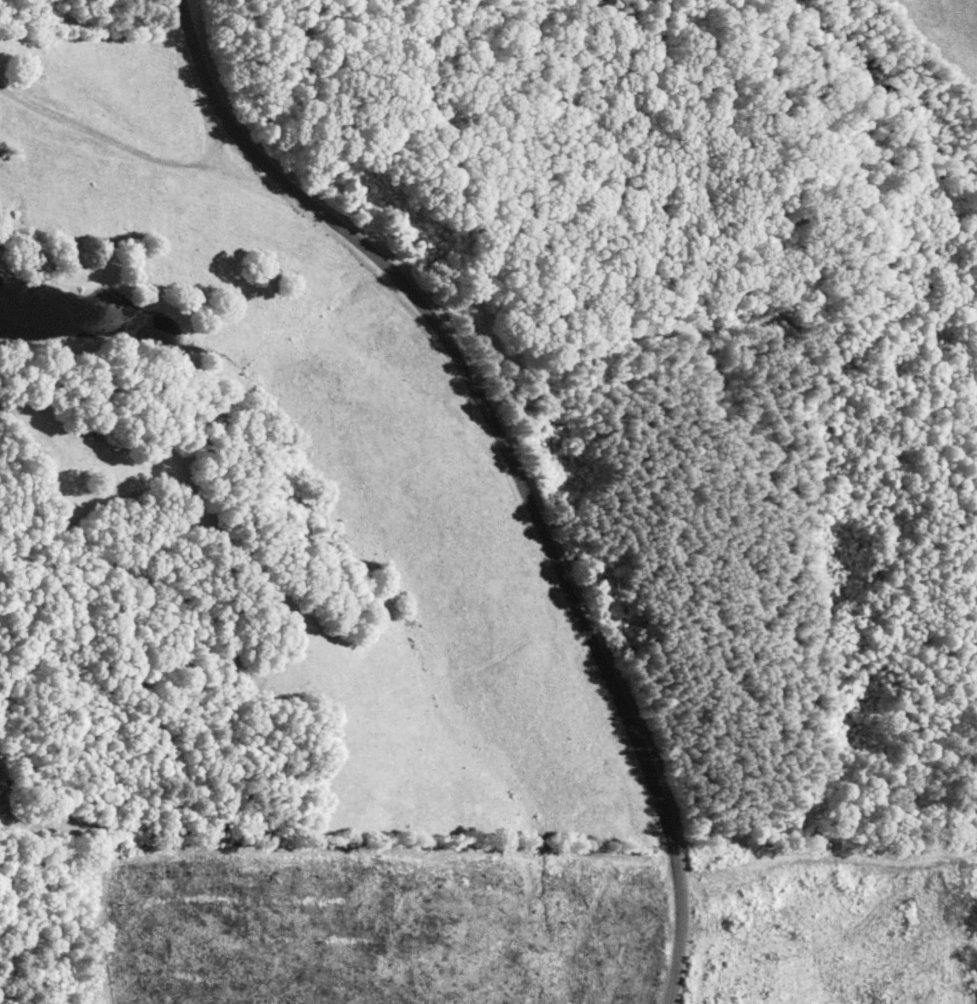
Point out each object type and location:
road: (110, 137)
road: (471, 470)

